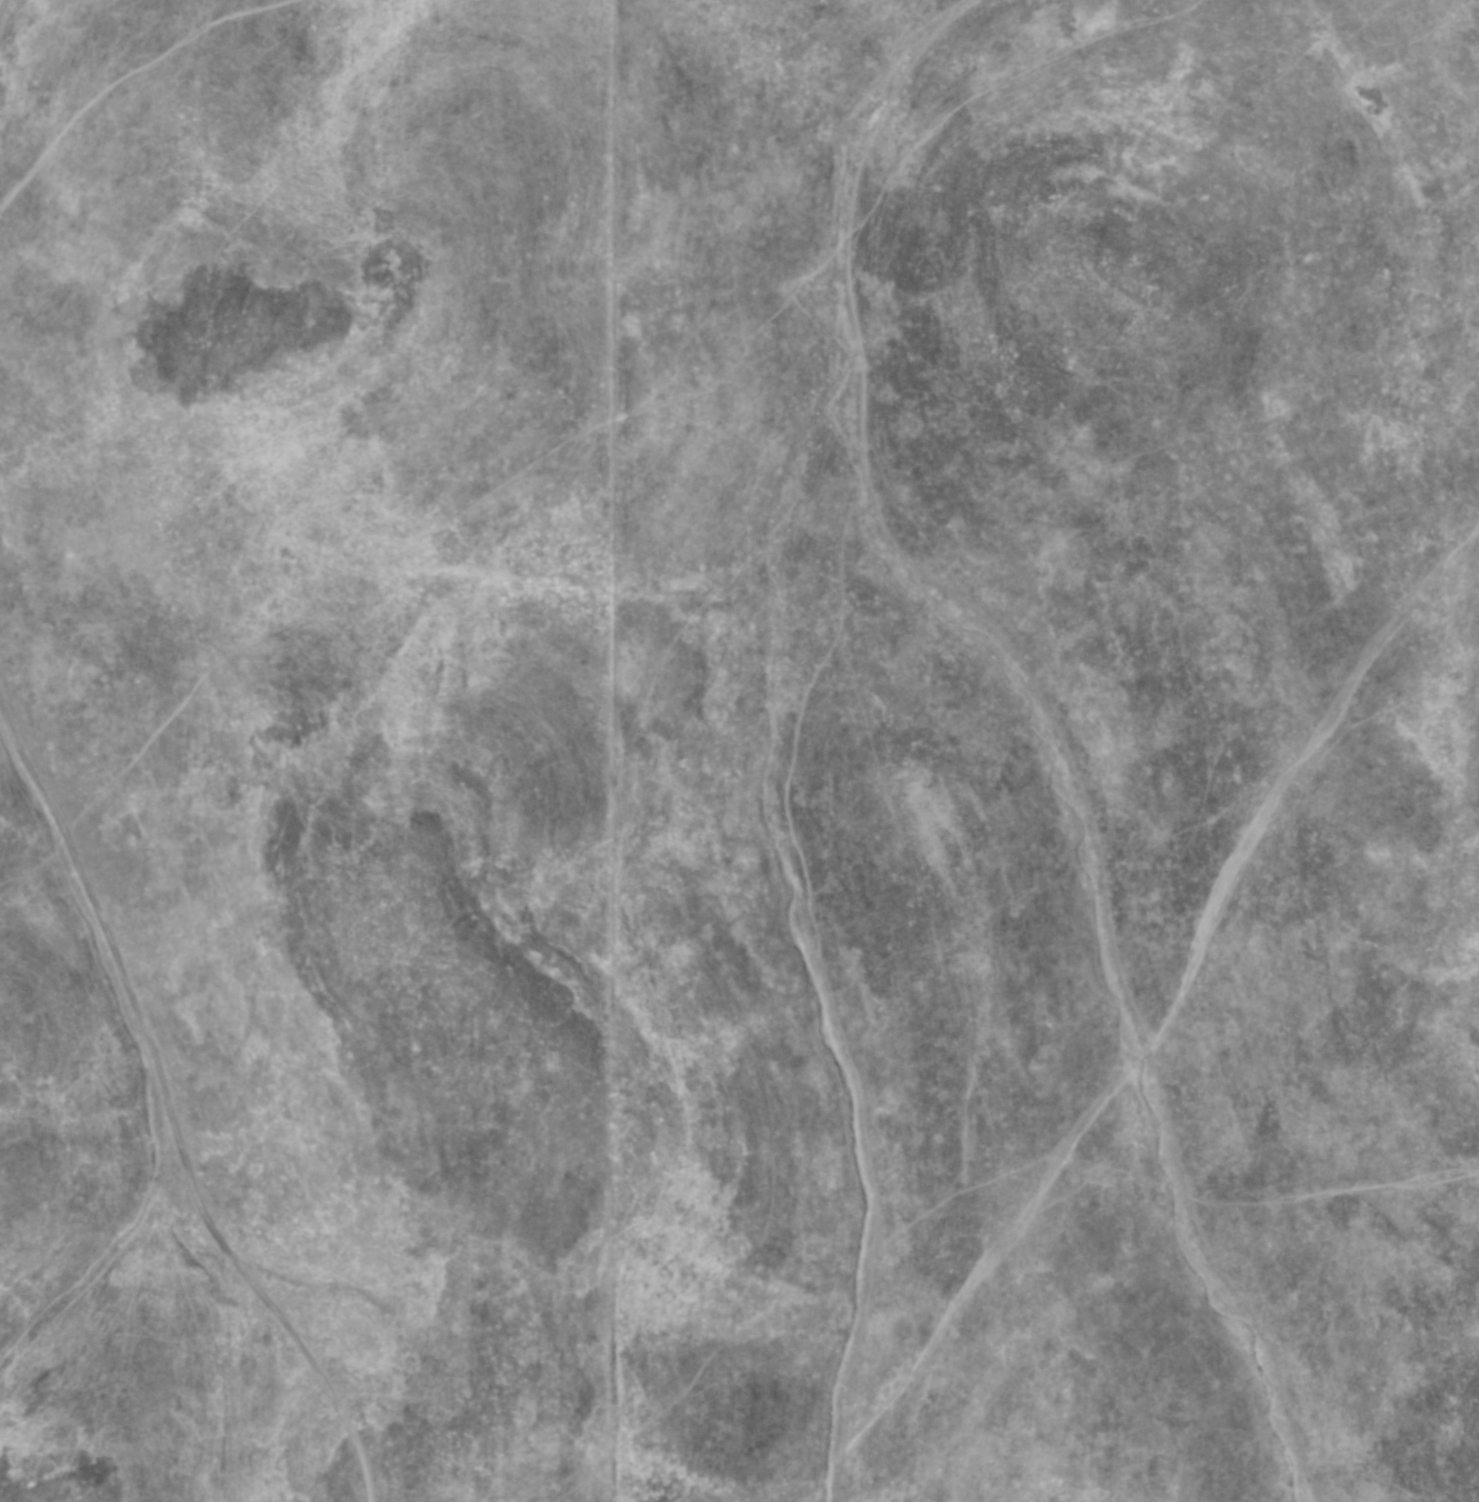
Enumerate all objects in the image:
road: (3, 7)
road: (1054, 721)
road: (171, 1111)

